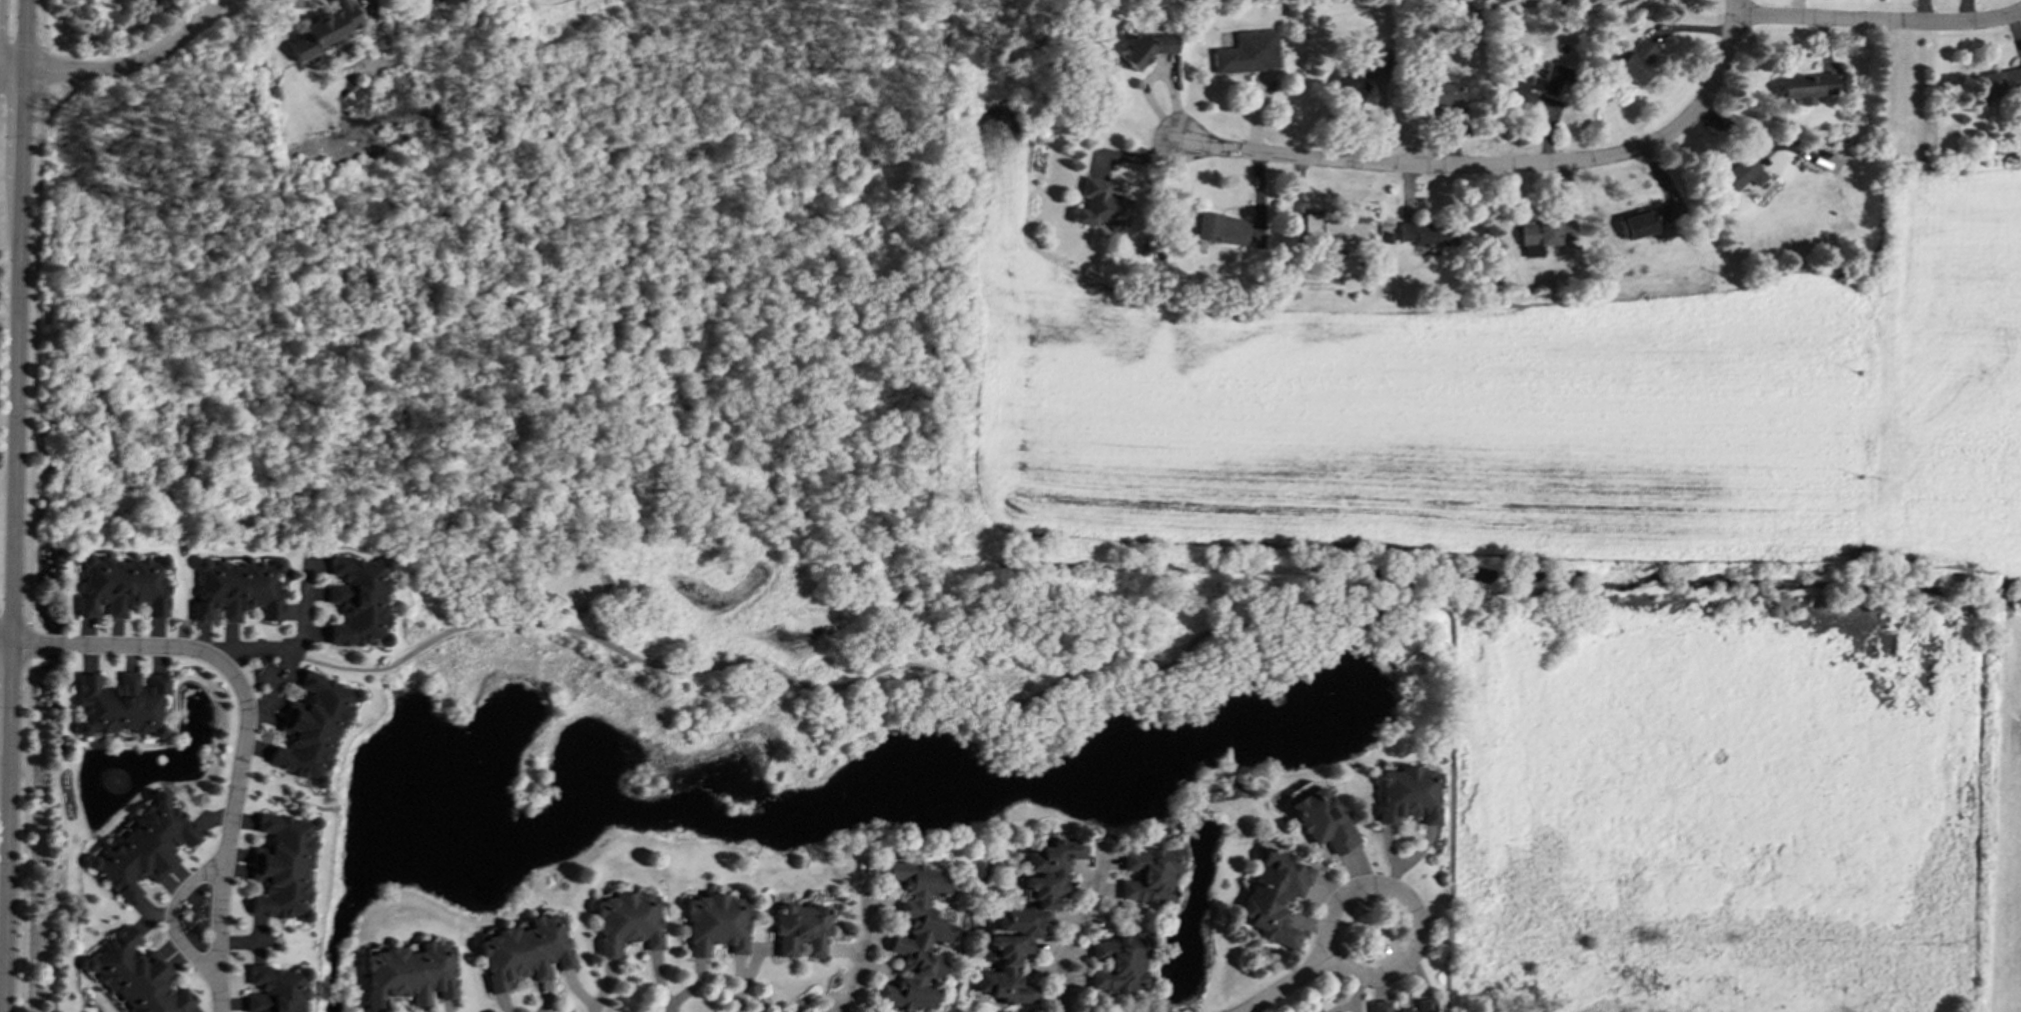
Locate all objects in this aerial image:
road: (1877, 22)
road: (41, 24)
building: (324, 29)
road: (20, 46)
building: (1142, 46)
building: (1248, 52)
building: (1635, 61)
building: (1367, 65)
road: (126, 67)
road: (41, 70)
road: (3, 71)
building: (1998, 81)
building: (1539, 82)
building: (1802, 86)
road: (20, 90)
building: (1439, 95)
road: (1501, 166)
building: (1737, 174)
building: (1100, 205)
building: (1641, 221)
building: (1220, 229)
building: (1334, 232)
building: (1543, 232)
building: (1427, 233)
road: (35, 357)
road: (14, 506)
crop: (1602, 563)
building: (123, 584)
building: (237, 589)
road: (1384, 590)
building: (359, 601)
road: (302, 603)
road: (29, 642)
road: (14, 644)
road: (125, 645)
road: (252, 648)
road: (275, 686)
road: (835, 686)
building: (120, 704)
building: (312, 728)
road: (1449, 787)
building: (1407, 794)
building: (1320, 818)
road: (227, 832)
road: (24, 836)
building: (141, 847)
building: (282, 866)
building: (1148, 875)
building: (1273, 895)
road: (1412, 917)
road: (169, 918)
building: (1024, 920)
building: (625, 921)
building: (713, 924)
building: (798, 929)
road: (859, 939)
building: (914, 939)
road: (1067, 940)
building: (523, 951)
building: (1117, 963)
building: (408, 974)
building: (136, 976)
road: (1, 981)
road: (1286, 986)
building: (275, 989)
building: (1422, 1005)

